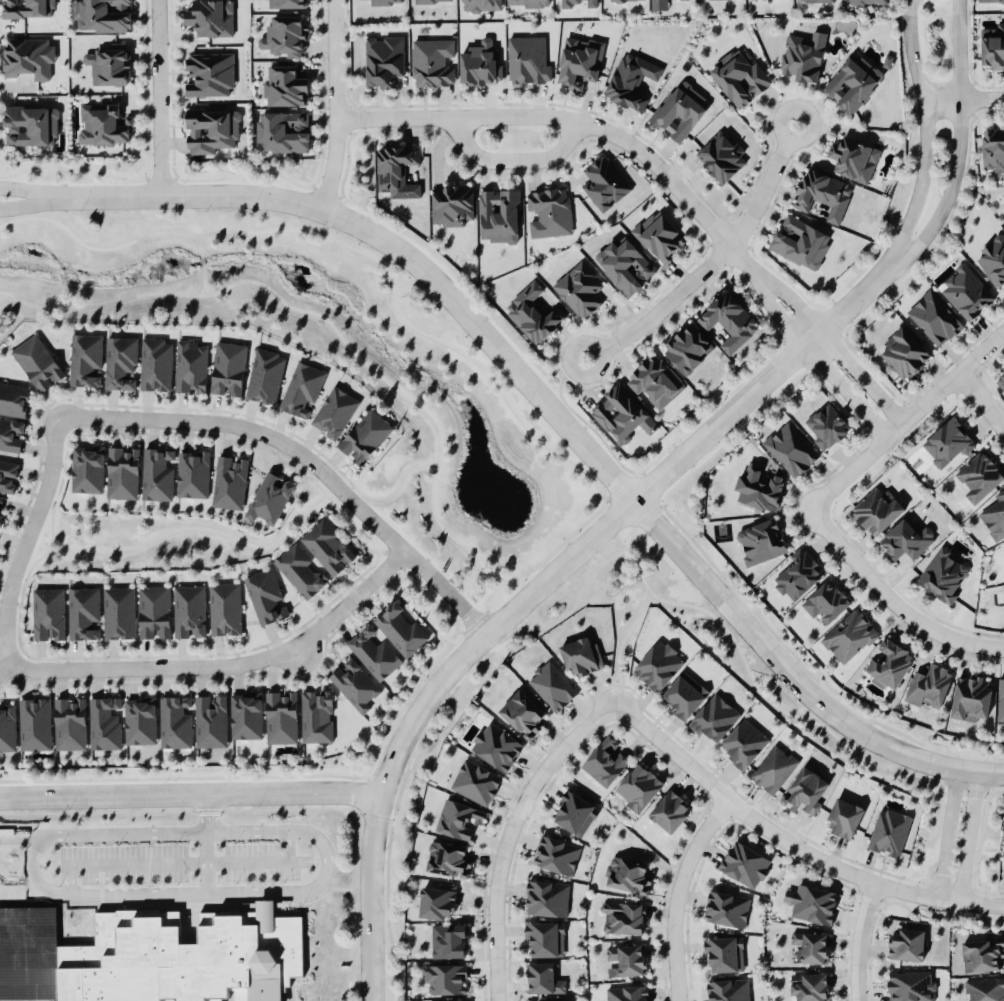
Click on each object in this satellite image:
building: (627, 0)
building: (814, 0)
building: (990, 0)
building: (431, 1)
building: (385, 2)
building: (867, 2)
building: (285, 3)
building: (527, 3)
building: (569, 3)
building: (479, 5)
building: (28, 8)
building: (104, 15)
building: (210, 17)
building: (285, 35)
building: (992, 45)
building: (803, 55)
building: (28, 57)
building: (528, 59)
building: (382, 60)
building: (580, 60)
building: (432, 62)
building: (110, 63)
building: (479, 63)
building: (209, 73)
building: (739, 76)
building: (630, 80)
building: (852, 82)
building: (283, 85)
road: (156, 97)
road: (963, 98)
road: (335, 105)
building: (679, 110)
road: (574, 119)
building: (103, 123)
building: (31, 125)
building: (211, 128)
building: (282, 131)
road: (924, 138)
building: (993, 147)
road: (958, 148)
building: (720, 155)
building: (853, 158)
road: (514, 159)
building: (397, 170)
building: (603, 181)
road: (26, 190)
building: (822, 193)
building: (451, 203)
road: (26, 204)
building: (549, 211)
building: (499, 215)
road: (328, 223)
building: (659, 237)
building: (799, 241)
road: (392, 244)
road: (198, 245)
road: (712, 258)
building: (993, 259)
road: (201, 261)
building: (624, 265)
road: (204, 281)
building: (580, 289)
building: (965, 291)
building: (533, 313)
building: (934, 317)
road: (403, 318)
road: (327, 320)
building: (728, 320)
road: (832, 340)
building: (687, 348)
building: (903, 352)
road: (814, 356)
building: (86, 359)
building: (37, 362)
building: (120, 362)
building: (155, 364)
building: (191, 366)
building: (228, 368)
building: (265, 375)
building: (999, 378)
building: (655, 381)
building: (302, 389)
building: (14, 398)
road: (980, 401)
building: (334, 411)
road: (912, 413)
building: (622, 414)
building: (825, 425)
building: (11, 434)
building: (365, 435)
building: (946, 441)
building: (790, 448)
road: (306, 457)
building: (87, 468)
building: (122, 471)
building: (157, 473)
building: (193, 473)
building: (8, 475)
building: (979, 475)
building: (229, 481)
building: (758, 487)
road: (385, 495)
building: (268, 498)
road: (619, 499)
building: (1, 503)
building: (877, 509)
building: (994, 514)
road: (633, 518)
road: (209, 529)
road: (28, 536)
building: (906, 537)
building: (760, 541)
building: (1003, 543)
building: (327, 546)
road: (625, 546)
road: (638, 550)
building: (300, 570)
building: (944, 574)
building: (797, 575)
road: (496, 581)
road: (536, 587)
road: (582, 590)
building: (266, 596)
road: (890, 598)
building: (825, 600)
building: (225, 608)
building: (189, 610)
building: (154, 611)
building: (83, 612)
building: (119, 612)
building: (48, 613)
building: (400, 627)
building: (849, 636)
road: (621, 641)
building: (373, 652)
road: (4, 656)
building: (581, 656)
building: (889, 663)
road: (223, 665)
building: (658, 665)
road: (793, 676)
building: (355, 684)
building: (928, 684)
building: (551, 685)
building: (684, 695)
building: (970, 696)
building: (1000, 699)
building: (522, 713)
building: (246, 714)
building: (316, 715)
building: (281, 716)
building: (714, 718)
building: (140, 720)
building: (211, 720)
building: (175, 721)
building: (35, 722)
building: (105, 722)
building: (69, 723)
building: (8, 726)
building: (742, 743)
building: (496, 745)
building: (604, 761)
building: (773, 768)
road: (283, 774)
building: (476, 781)
road: (374, 783)
building: (638, 786)
road: (972, 788)
building: (806, 789)
road: (191, 790)
building: (669, 809)
building: (574, 812)
building: (457, 817)
building: (843, 817)
building: (889, 831)
road: (510, 832)
road: (947, 832)
road: (968, 835)
road: (208, 841)
road: (789, 841)
building: (555, 853)
road: (34, 855)
building: (447, 858)
parking lot: (262, 862)
parking lot: (124, 863)
building: (744, 864)
road: (326, 865)
building: (626, 874)
road: (678, 893)
building: (548, 897)
building: (437, 901)
building: (812, 903)
building: (726, 908)
building: (621, 917)
building: (21, 935)
building: (545, 938)
building: (448, 940)
road: (860, 940)
building: (907, 944)
building: (812, 946)
building: (723, 952)
building: (982, 953)
building: (180, 958)
building: (628, 958)
building: (20, 974)
building: (445, 977)
building: (542, 978)
building: (809, 985)
building: (910, 985)
building: (728, 989)
building: (984, 989)
building: (626, 993)
building: (32, 995)
building: (447, 1000)
building: (547, 1000)

